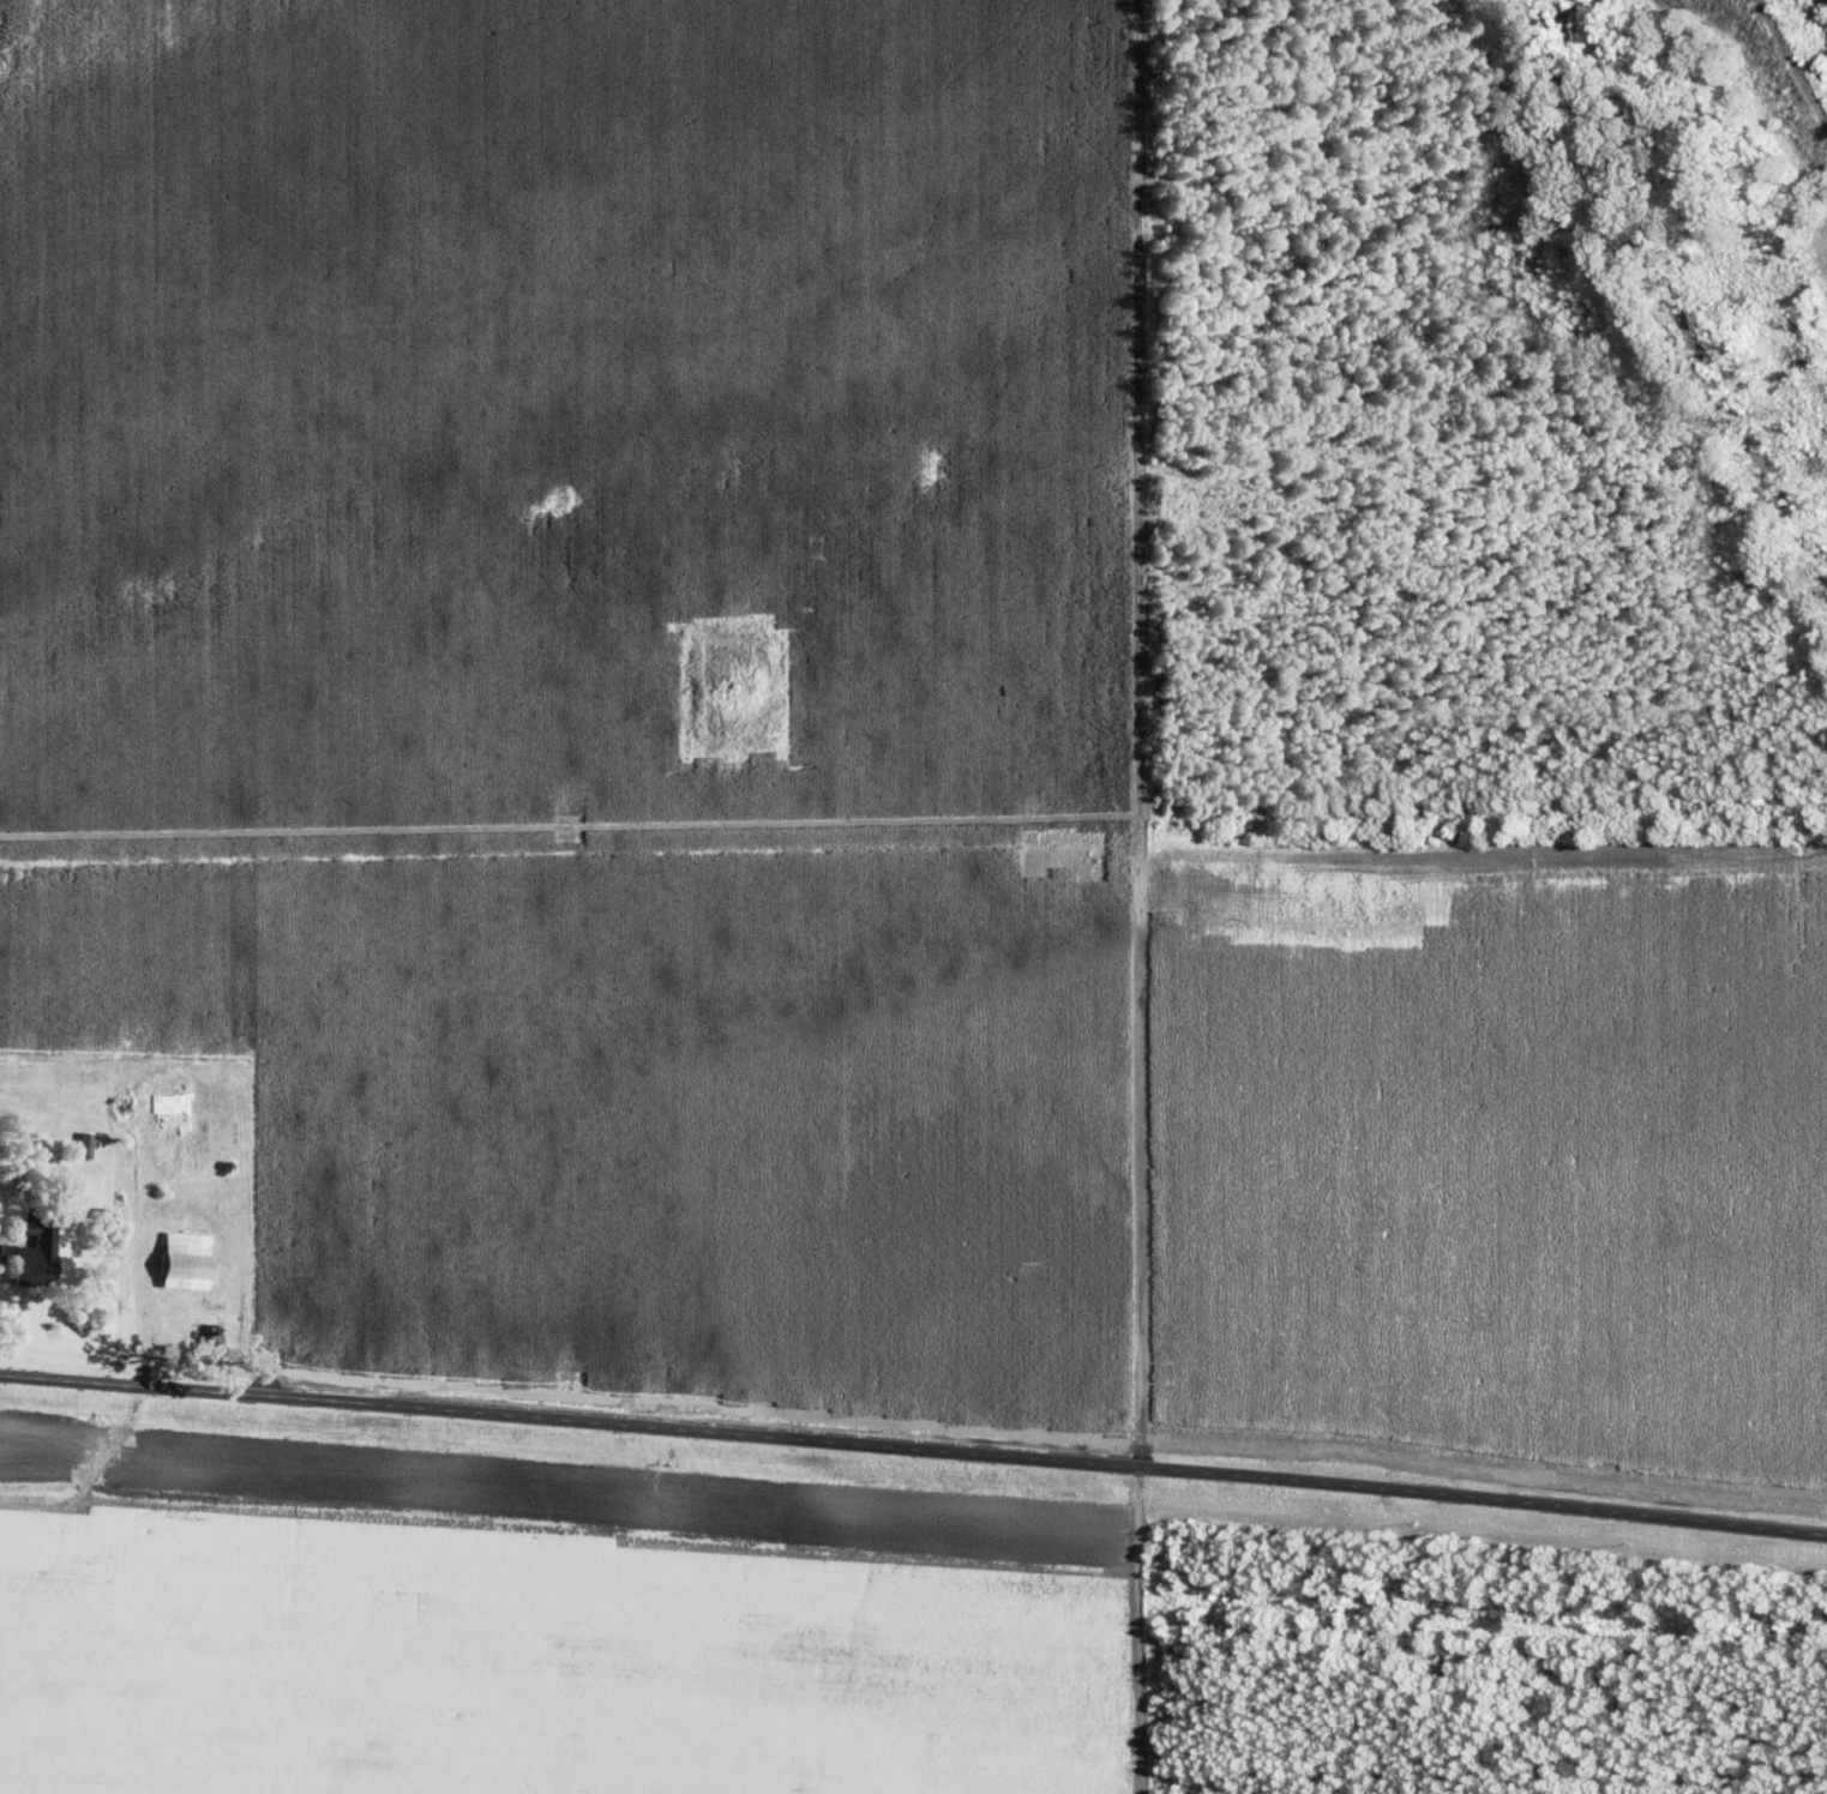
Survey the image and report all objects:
road: (1136, 897)
building: (84, 1146)
building: (185, 1262)
road: (914, 1447)

